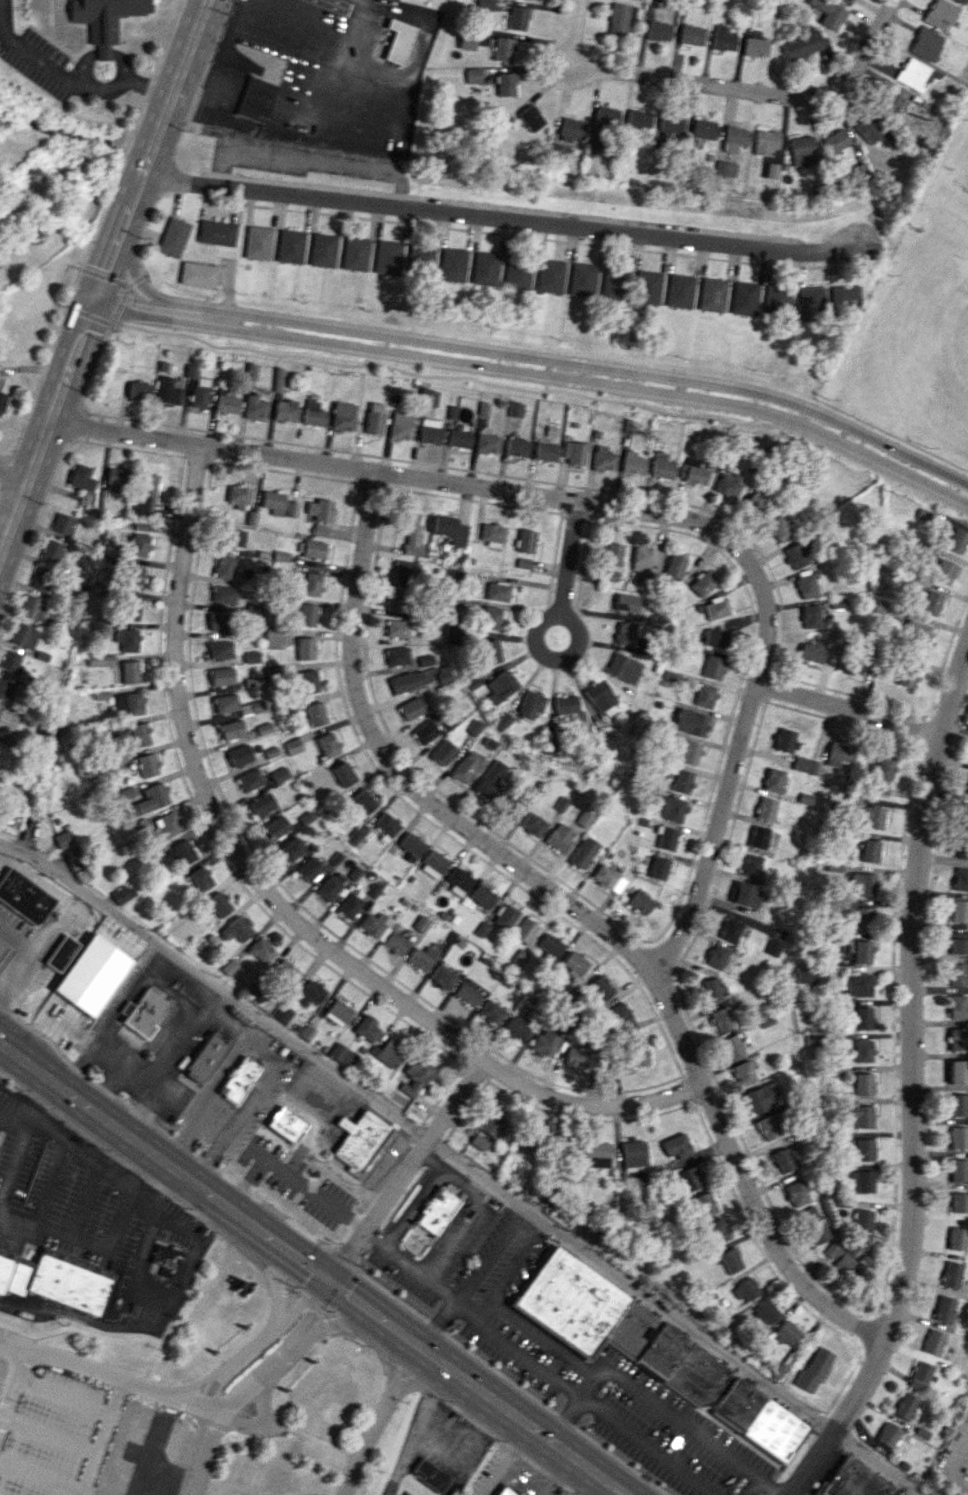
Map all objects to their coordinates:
building: (540, 0)
building: (655, 0)
building: (959, 1)
road: (334, 4)
building: (485, 4)
road: (356, 9)
building: (827, 12)
building: (939, 12)
building: (517, 17)
building: (620, 18)
building: (103, 19)
building: (658, 31)
road: (573, 33)
building: (691, 35)
building: (482, 38)
building: (722, 38)
building: (400, 40)
building: (467, 42)
building: (925, 43)
building: (802, 45)
building: (755, 46)
road: (863, 48)
building: (503, 49)
building: (911, 73)
building: (473, 75)
road: (73, 77)
building: (505, 83)
road: (699, 84)
building: (255, 99)
building: (890, 99)
building: (606, 116)
building: (530, 117)
building: (638, 120)
building: (867, 127)
building: (571, 128)
building: (703, 129)
building: (734, 138)
building: (765, 141)
building: (835, 141)
building: (800, 151)
building: (555, 153)
road: (308, 161)
building: (784, 166)
building: (724, 168)
building: (772, 170)
road: (504, 217)
building: (216, 232)
building: (173, 236)
building: (258, 242)
building: (290, 245)
building: (323, 249)
building: (355, 253)
building: (387, 257)
building: (452, 265)
building: (484, 268)
road: (103, 274)
building: (198, 274)
building: (550, 275)
building: (516, 276)
building: (583, 279)
building: (610, 283)
building: (647, 287)
building: (680, 290)
building: (712, 294)
building: (844, 295)
building: (745, 297)
building: (776, 299)
building: (811, 303)
park: (916, 314)
road: (537, 368)
building: (249, 370)
building: (190, 371)
building: (278, 380)
building: (138, 391)
building: (166, 391)
building: (199, 392)
building: (429, 397)
building: (2, 399)
building: (225, 404)
building: (254, 407)
building: (514, 409)
building: (284, 410)
building: (312, 413)
building: (342, 416)
building: (373, 418)
building: (400, 425)
building: (429, 430)
building: (458, 438)
building: (487, 443)
building: (516, 447)
building: (545, 451)
building: (573, 452)
building: (602, 459)
building: (632, 463)
building: (661, 466)
building: (692, 471)
road: (12, 477)
building: (81, 477)
building: (114, 480)
road: (469, 487)
building: (726, 487)
building: (145, 494)
building: (238, 496)
building: (754, 500)
building: (273, 502)
building: (290, 509)
building: (319, 509)
building: (62, 524)
building: (140, 526)
building: (777, 528)
building: (319, 530)
building: (449, 530)
building: (410, 532)
building: (492, 534)
building: (233, 536)
building: (526, 540)
building: (956, 540)
building: (139, 545)
building: (310, 548)
building: (51, 551)
building: (612, 554)
building: (796, 554)
building: (280, 555)
building: (645, 558)
building: (523, 563)
building: (674, 565)
building: (225, 568)
building: (405, 571)
building: (943, 571)
building: (610, 575)
building: (135, 577)
road: (567, 577)
building: (42, 580)
building: (311, 583)
building: (702, 583)
building: (805, 586)
building: (497, 591)
building: (398, 599)
building: (453, 601)
building: (625, 602)
building: (836, 602)
building: (930, 602)
building: (32, 607)
building: (715, 607)
building: (132, 608)
building: (883, 608)
building: (307, 615)
building: (809, 616)
building: (490, 617)
building: (218, 622)
building: (397, 628)
building: (916, 632)
building: (451, 634)
building: (624, 634)
building: (23, 635)
building: (714, 637)
building: (271, 638)
building: (127, 639)
building: (305, 648)
building: (220, 649)
building: (489, 651)
building: (811, 651)
building: (397, 655)
building: (251, 656)
building: (100, 660)
building: (425, 660)
building: (11, 661)
building: (855, 663)
building: (623, 667)
building: (712, 667)
building: (130, 671)
building: (443, 673)
building: (672, 675)
building: (221, 676)
building: (906, 676)
building: (308, 681)
building: (406, 681)
building: (500, 686)
building: (475, 687)
building: (6, 689)
building: (704, 695)
building: (601, 698)
building: (130, 703)
building: (225, 703)
building: (530, 704)
building: (565, 704)
building: (251, 707)
building: (411, 708)
road: (846, 709)
building: (0, 711)
building: (315, 713)
building: (690, 722)
building: (474, 727)
building: (264, 728)
building: (231, 729)
building: (425, 731)
building: (139, 734)
building: (784, 740)
building: (327, 745)
building: (293, 746)
building: (686, 751)
building: (442, 752)
building: (837, 753)
building: (239, 755)
building: (800, 763)
building: (147, 765)
building: (466, 766)
building: (279, 774)
building: (343, 774)
building: (880, 775)
building: (489, 779)
building: (772, 779)
building: (249, 780)
building: (682, 781)
building: (967, 790)
building: (126, 793)
building: (150, 799)
building: (360, 803)
building: (262, 804)
building: (669, 808)
building: (764, 808)
building: (872, 816)
building: (583, 818)
building: (532, 824)
building: (164, 826)
building: (276, 828)
road: (713, 836)
building: (757, 837)
building: (63, 838)
building: (559, 838)
building: (665, 838)
building: (410, 846)
building: (291, 849)
building: (962, 849)
building: (869, 851)
building: (583, 852)
building: (181, 853)
building: (75, 857)
building: (433, 864)
building: (750, 865)
building: (658, 867)
building: (309, 869)
building: (200, 878)
building: (608, 878)
building: (961, 879)
building: (458, 880)
building: (863, 884)
building: (330, 885)
building: (123, 894)
building: (482, 895)
building: (744, 895)
building: (24, 897)
building: (639, 901)
building: (218, 904)
building: (349, 905)
road: (278, 906)
road: (577, 911)
building: (959, 911)
building: (506, 916)
building: (863, 918)
building: (419, 924)
building: (374, 925)
building: (237, 928)
building: (525, 930)
building: (728, 930)
building: (395, 942)
building: (958, 943)
building: (550, 946)
building: (772, 948)
building: (4, 950)
building: (261, 950)
road: (32, 951)
building: (862, 951)
building: (62, 953)
building: (715, 956)
building: (421, 958)
building: (574, 963)
building: (229, 967)
building: (285, 971)
building: (805, 974)
building: (957, 974)
building: (442, 977)
road: (187, 980)
building: (855, 984)
building: (600, 989)
building: (710, 989)
building: (309, 993)
road: (2, 994)
building: (466, 994)
road: (2, 999)
road: (210, 1003)
building: (958, 1006)
building: (144, 1012)
building: (338, 1012)
building: (490, 1012)
building: (282, 1013)
building: (863, 1017)
building: (622, 1018)
building: (720, 1019)
building: (765, 1020)
road: (228, 1023)
road: (106, 1024)
building: (366, 1028)
building: (514, 1029)
building: (812, 1039)
building: (957, 1039)
building: (544, 1042)
building: (731, 1046)
road: (176, 1048)
road: (265, 1048)
building: (863, 1050)
building: (387, 1051)
building: (341, 1055)
building: (577, 1056)
building: (207, 1057)
building: (633, 1057)
building: (957, 1072)
building: (743, 1073)
building: (413, 1076)
building: (238, 1079)
road: (911, 1080)
building: (864, 1083)
road: (147, 1087)
road: (103, 1091)
building: (761, 1097)
road: (203, 1101)
building: (958, 1104)
road: (28, 1112)
building: (861, 1115)
road: (234, 1124)
building: (491, 1125)
building: (767, 1127)
building: (958, 1137)
building: (360, 1142)
building: (478, 1142)
building: (675, 1146)
building: (864, 1149)
building: (597, 1154)
building: (632, 1154)
road: (88, 1157)
road: (428, 1157)
building: (783, 1159)
road: (462, 1162)
building: (959, 1170)
road: (400, 1173)
building: (689, 1178)
building: (862, 1180)
road: (143, 1191)
road: (166, 1192)
building: (796, 1193)
building: (959, 1202)
road: (411, 1204)
building: (704, 1204)
building: (436, 1210)
road: (199, 1213)
road: (175, 1215)
road: (466, 1216)
building: (863, 1220)
building: (813, 1224)
road: (51, 1231)
building: (716, 1231)
building: (957, 1238)
building: (166, 1259)
building: (730, 1260)
building: (843, 1260)
building: (951, 1274)
road: (308, 1276)
building: (56, 1280)
road: (435, 1283)
traffic signals: (322, 1287)
building: (746, 1289)
road: (150, 1290)
building: (944, 1308)
building: (765, 1311)
building: (615, 1327)
road: (493, 1329)
building: (788, 1332)
road: (279, 1334)
road: (273, 1341)
building: (933, 1342)
building: (813, 1369)
building: (777, 1370)
road: (593, 1372)
road: (108, 1375)
building: (920, 1375)
building: (904, 1405)
building: (758, 1418)
road: (375, 1422)
road: (413, 1431)
building: (887, 1434)
road: (201, 1443)
building: (148, 1455)
road: (507, 1464)
road: (949, 1468)
building: (430, 1475)
road: (552, 1475)
building: (854, 1481)
road: (586, 1485)
road: (749, 1485)
road: (768, 1485)
building: (505, 1491)

